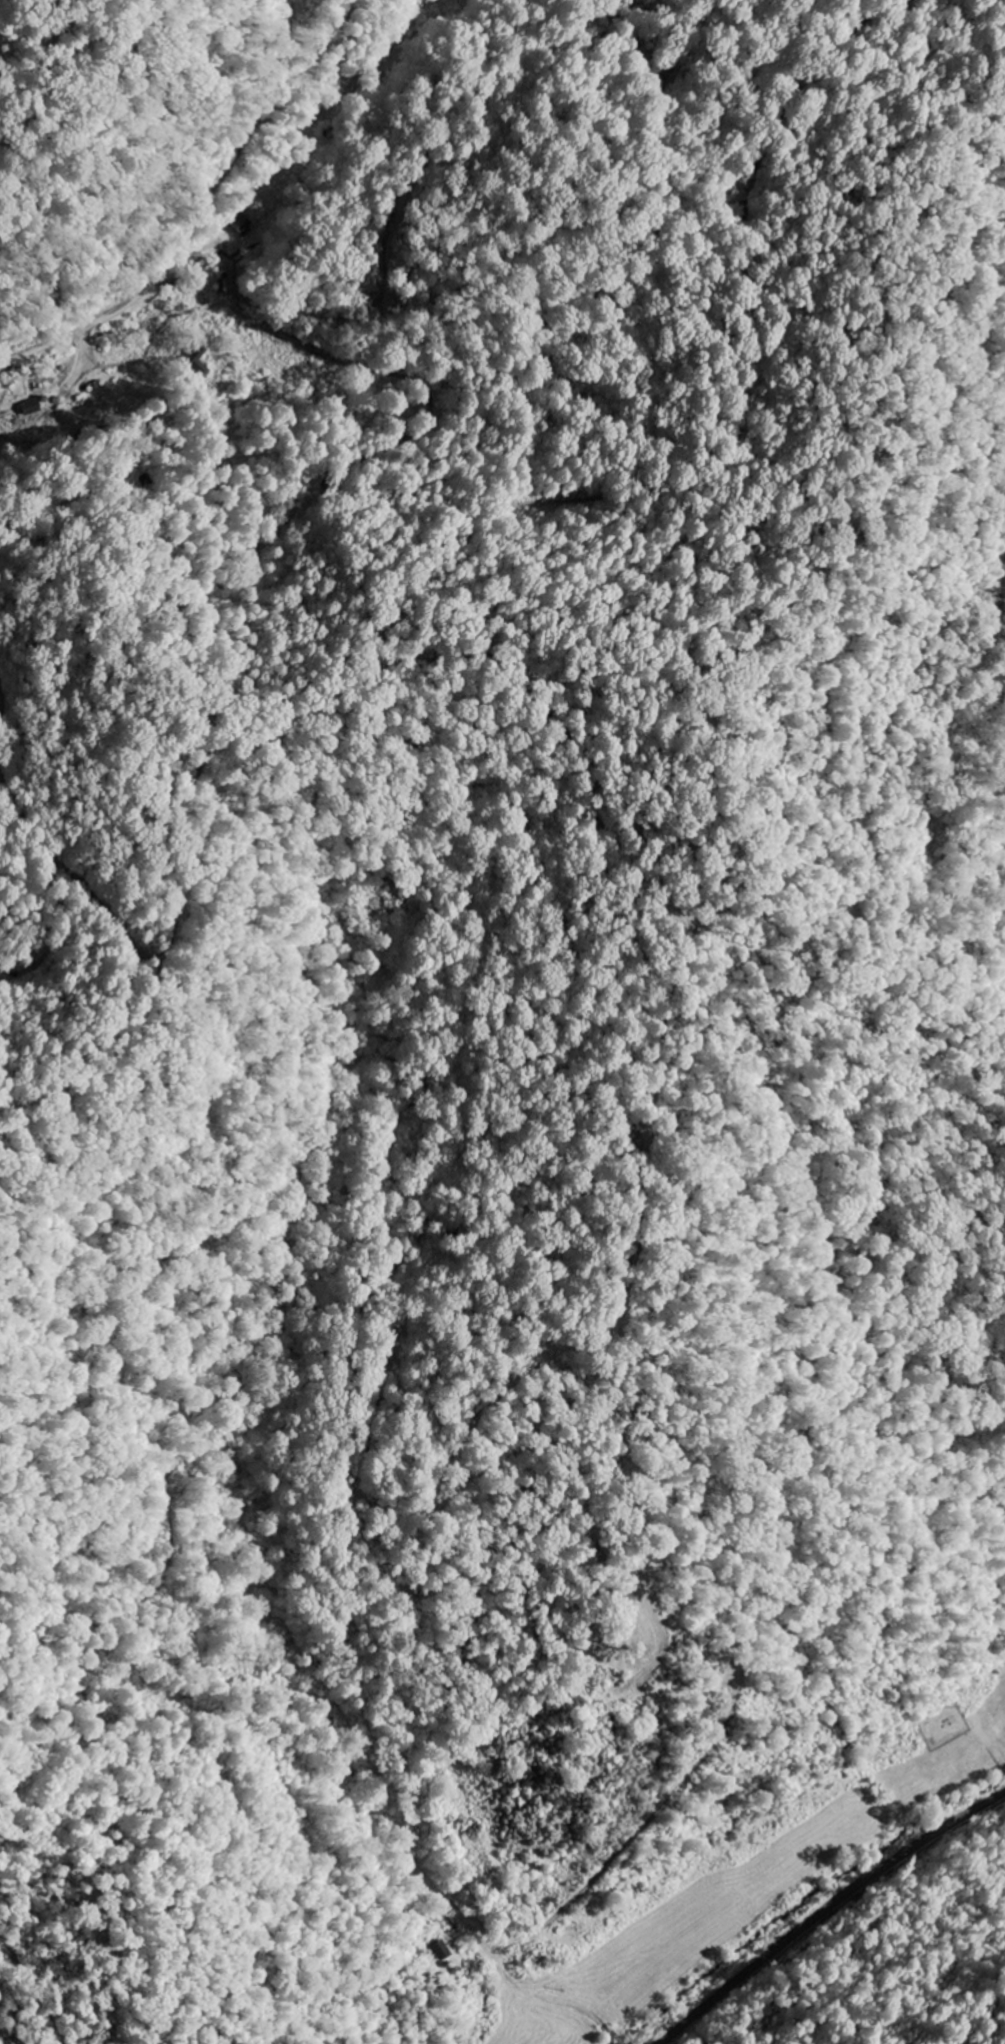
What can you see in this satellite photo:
building: (242, 225)
road: (107, 292)
building: (196, 361)
building: (31, 408)
road: (830, 1912)
building: (444, 1951)

